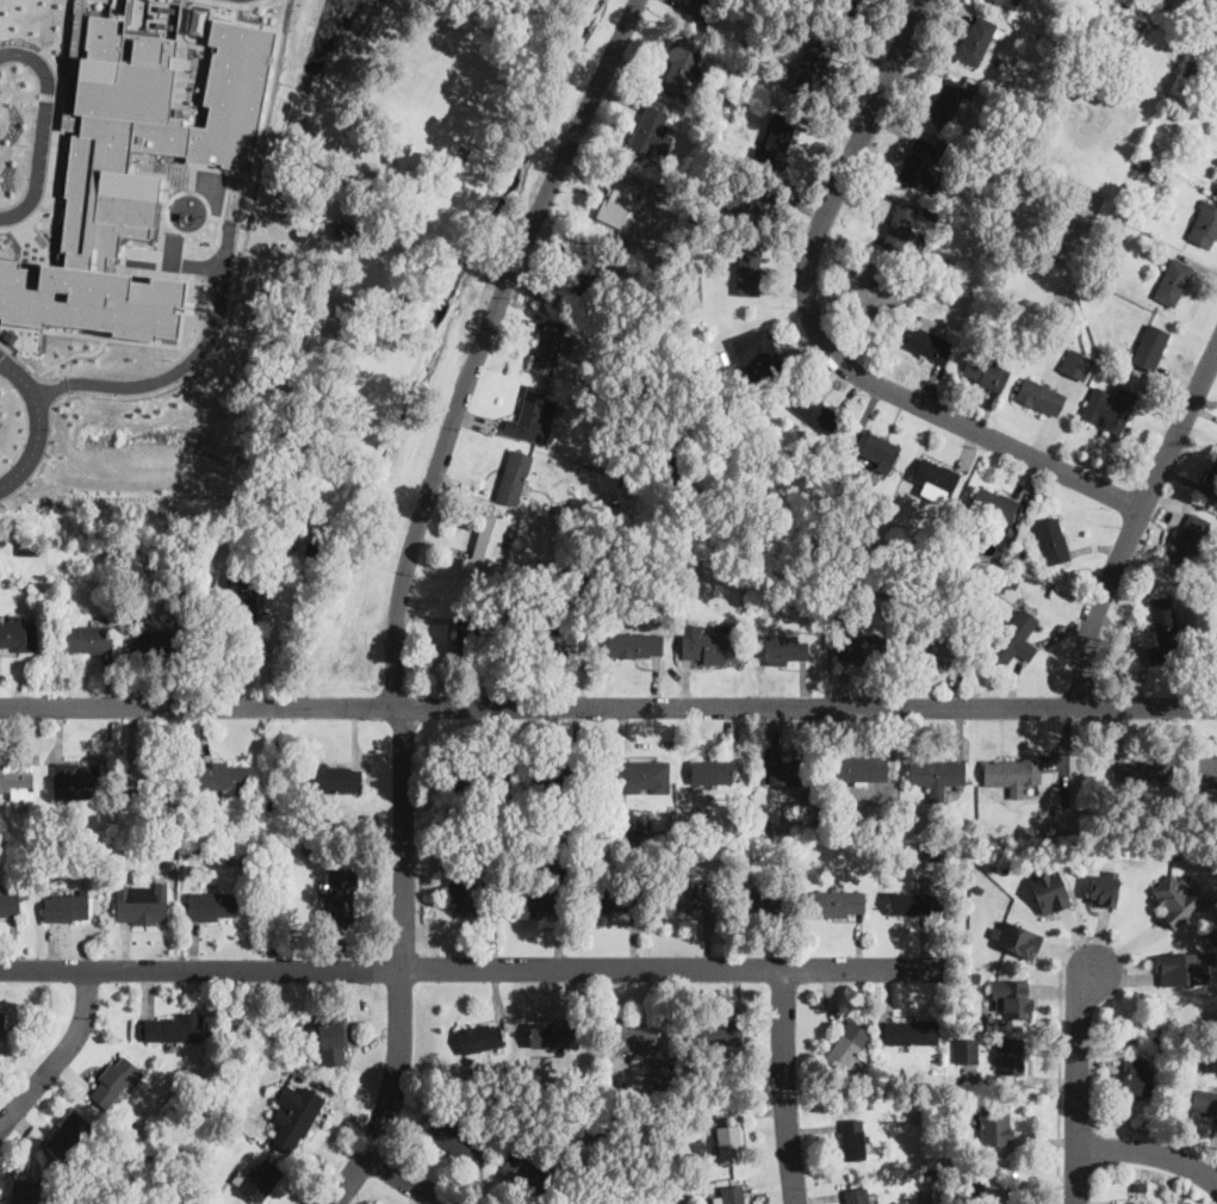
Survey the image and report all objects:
road: (237, 2)
building: (1008, 2)
building: (846, 6)
building: (700, 8)
building: (975, 37)
road: (199, 43)
road: (10, 50)
road: (178, 57)
building: (679, 66)
building: (812, 68)
road: (191, 77)
road: (2, 91)
road: (18, 91)
road: (48, 94)
building: (948, 100)
building: (150, 125)
road: (260, 128)
building: (651, 130)
road: (42, 137)
building: (775, 141)
road: (52, 148)
building: (920, 162)
road: (161, 173)
building: (1216, 173)
building: (745, 199)
road: (224, 201)
building: (617, 203)
building: (1204, 223)
building: (901, 226)
building: (341, 228)
road: (186, 231)
road: (138, 254)
building: (576, 265)
road: (122, 266)
road: (139, 268)
road: (120, 269)
building: (747, 271)
road: (160, 273)
building: (1173, 280)
building: (868, 290)
park: (348, 297)
building: (89, 298)
road: (179, 334)
road: (822, 334)
building: (929, 336)
building: (551, 345)
building: (1150, 345)
road: (76, 350)
building: (756, 354)
road: (20, 358)
road: (185, 362)
building: (1076, 362)
building: (986, 370)
building: (1039, 395)
road: (0, 399)
building: (1109, 406)
building: (816, 411)
building: (533, 415)
parking lot: (1, 422)
road: (38, 422)
building: (878, 451)
building: (514, 474)
building: (935, 478)
building: (1211, 480)
building: (992, 502)
road: (1135, 516)
building: (1193, 530)
building: (489, 538)
building: (1053, 539)
building: (29, 545)
road: (402, 588)
building: (242, 598)
building: (1163, 629)
building: (473, 631)
building: (17, 632)
building: (88, 637)
building: (1016, 637)
building: (151, 638)
building: (563, 638)
building: (634, 644)
building: (861, 645)
building: (707, 646)
building: (778, 647)
building: (933, 647)
road: (608, 706)
building: (1205, 763)
building: (857, 768)
building: (1147, 770)
building: (782, 771)
building: (936, 772)
building: (1012, 772)
building: (153, 774)
building: (642, 775)
building: (712, 775)
building: (223, 776)
building: (336, 777)
building: (75, 778)
building: (17, 780)
building: (551, 780)
building: (482, 789)
building: (629, 823)
building: (1048, 885)
building: (1104, 886)
building: (341, 893)
building: (466, 894)
building: (762, 898)
building: (1179, 898)
building: (8, 899)
building: (611, 899)
building: (688, 899)
building: (141, 901)
building: (909, 901)
building: (533, 902)
building: (836, 902)
building: (66, 905)
building: (212, 905)
building: (1014, 937)
building: (1185, 967)
road: (470, 968)
building: (1012, 997)
building: (1, 1022)
building: (173, 1026)
building: (911, 1031)
building: (716, 1032)
building: (548, 1034)
building: (479, 1036)
building: (631, 1037)
building: (331, 1039)
building: (846, 1044)
building: (962, 1048)
road: (1060, 1050)
building: (1012, 1053)
road: (61, 1055)
building: (663, 1070)
building: (1138, 1074)
building: (113, 1080)
road: (783, 1085)
road: (1078, 1085)
building: (1203, 1100)
building: (294, 1115)
building: (995, 1124)
building: (69, 1132)
building: (855, 1137)
building: (458, 1142)
building: (729, 1143)
road: (1150, 1150)
building: (526, 1172)
building: (261, 1178)
road: (408, 1179)
building: (25, 1191)
building: (994, 1191)
building: (729, 1194)
building: (856, 1194)
building: (583, 1203)
building: (1138, 1203)

